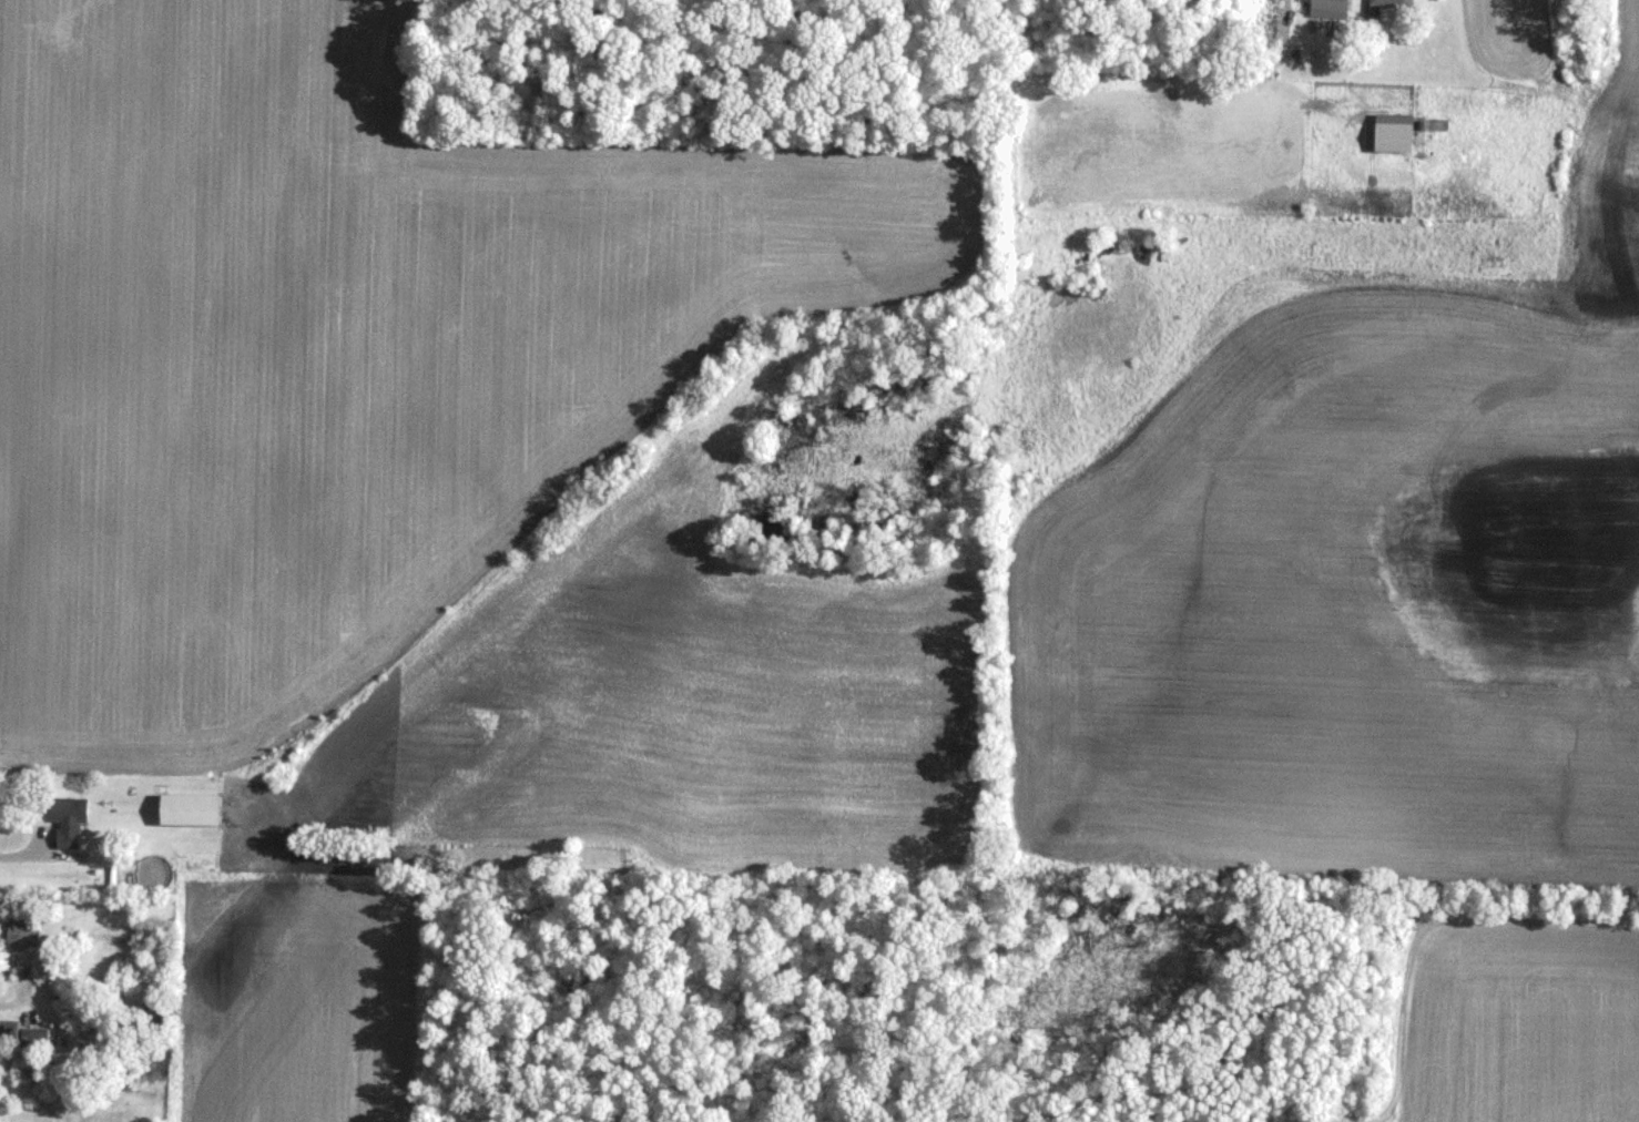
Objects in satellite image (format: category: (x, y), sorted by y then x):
building: (1399, 1)
building: (1386, 131)
building: (186, 808)
building: (73, 820)
road: (32, 855)

